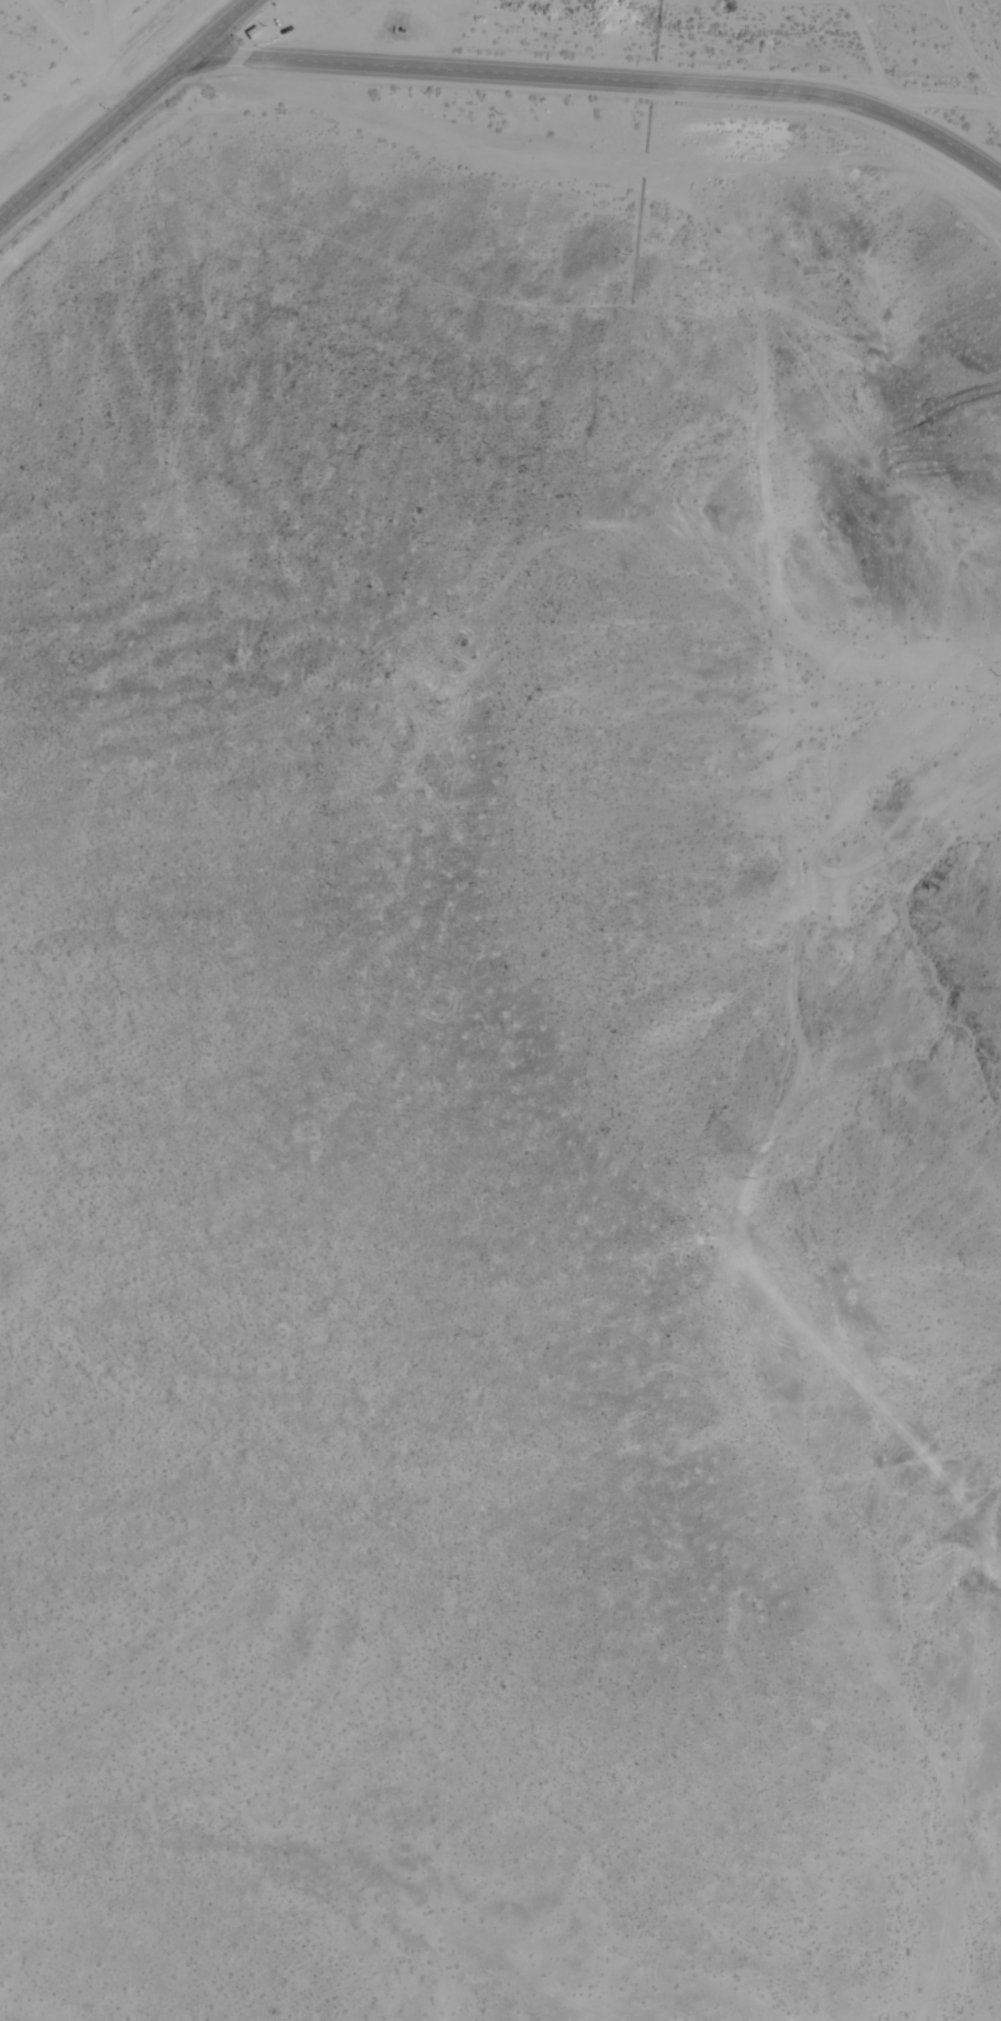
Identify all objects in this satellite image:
building: (254, 33)
road: (111, 57)
road: (595, 79)
road: (124, 110)
road: (918, 132)

